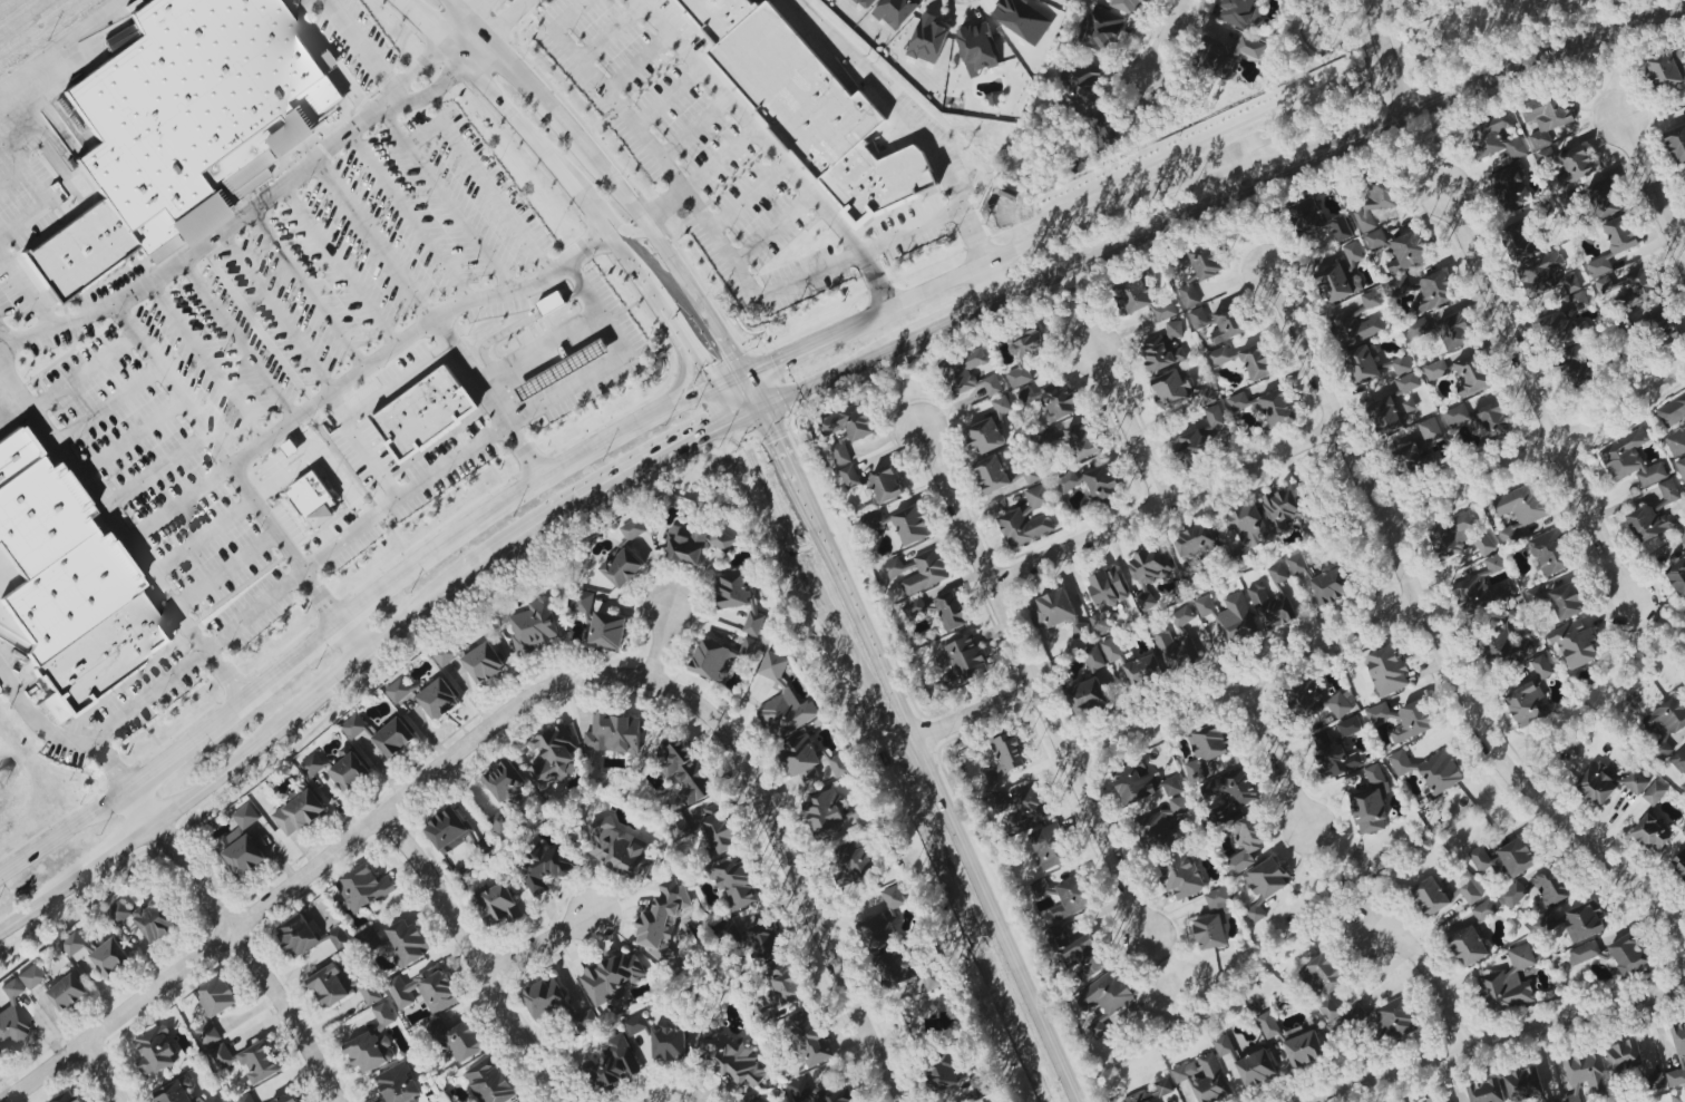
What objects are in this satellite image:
building: (865, 3)
building: (1129, 6)
building: (896, 11)
building: (1240, 13)
building: (1022, 19)
road: (464, 21)
road: (496, 30)
building: (1102, 30)
road: (607, 31)
park: (1346, 31)
building: (928, 39)
road: (1166, 40)
road: (60, 43)
building: (977, 48)
road: (360, 49)
building: (1227, 56)
road: (1387, 58)
road: (636, 64)
building: (1667, 69)
road: (1521, 72)
building: (1083, 85)
road: (397, 99)
road: (668, 99)
building: (809, 103)
road: (907, 115)
building: (1546, 117)
building: (176, 118)
road: (751, 125)
building: (1106, 127)
road: (694, 129)
road: (426, 135)
building: (1496, 137)
building: (1676, 143)
road: (723, 162)
building: (1574, 165)
road: (1220, 174)
road: (614, 175)
building: (1684, 176)
road: (572, 183)
road: (1652, 185)
building: (1510, 187)
building: (1009, 192)
road: (496, 197)
road: (750, 197)
building: (1605, 198)
road: (447, 199)
building: (1377, 206)
road: (670, 208)
road: (410, 215)
road: (612, 217)
road: (1180, 217)
building: (1317, 220)
road: (713, 230)
road: (775, 230)
building: (1620, 234)
building: (1375, 238)
building: (1520, 238)
road: (373, 240)
road: (206, 243)
building: (1408, 252)
building: (1204, 261)
road: (975, 263)
road: (339, 265)
building: (1599, 266)
building: (1343, 275)
building: (1547, 277)
road: (992, 280)
road: (875, 282)
building: (1640, 285)
road: (309, 287)
road: (26, 290)
building: (1434, 292)
building: (1189, 295)
building: (1142, 300)
building: (1371, 300)
building: (1578, 301)
building: (552, 302)
road: (276, 311)
road: (1503, 312)
building: (1199, 318)
road: (948, 323)
building: (1228, 324)
building: (1354, 328)
building: (1175, 329)
building: (1665, 329)
building: (1565, 330)
building: (1442, 331)
road: (411, 332)
road: (4, 335)
road: (238, 339)
road: (538, 345)
road: (808, 345)
building: (1025, 352)
building: (1160, 353)
building: (590, 354)
building: (1220, 355)
road: (207, 361)
road: (608, 361)
building: (1258, 362)
building: (1362, 364)
building: (1400, 365)
gas station: (564, 368)
building: (1438, 369)
building: (1579, 369)
building: (964, 372)
road: (81, 373)
building: (1473, 374)
traffic signals: (747, 376)
road: (828, 378)
road: (396, 380)
road: (732, 382)
building: (1408, 382)
building: (992, 384)
building: (1171, 388)
traffic signals: (718, 389)
road: (754, 391)
road: (486, 399)
building: (1051, 400)
building: (1238, 401)
road: (727, 404)
road: (105, 406)
building: (1001, 406)
traffic signals: (762, 408)
building: (1278, 408)
building: (421, 411)
building: (1673, 411)
building: (1457, 415)
building: (1215, 416)
building: (1384, 416)
traffic signals: (736, 421)
building: (1492, 421)
road: (1129, 423)
building: (846, 429)
building: (1430, 429)
building: (985, 436)
road: (129, 439)
road: (730, 439)
building: (1083, 440)
building: (1676, 441)
road: (362, 446)
building: (1191, 447)
road: (1538, 449)
building: (1408, 457)
building: (1630, 459)
road: (226, 462)
road: (563, 466)
building: (1682, 467)
road: (329, 470)
road: (154, 471)
road: (280, 472)
building: (992, 475)
building: (1032, 475)
building: (849, 477)
building: (1066, 481)
building: (887, 484)
building: (1102, 485)
building: (1669, 490)
building: (309, 494)
road: (402, 497)
road: (176, 503)
road: (1163, 503)
building: (1280, 508)
building: (1521, 509)
building: (874, 520)
building: (1313, 523)
road: (1595, 524)
building: (1650, 524)
building: (912, 525)
building: (1024, 527)
park: (1350, 527)
building: (633, 529)
building: (1247, 533)
road: (120, 535)
building: (1451, 535)
road: (201, 537)
building: (722, 539)
building: (1195, 542)
building: (685, 545)
building: (1486, 546)
building: (1550, 553)
building: (1494, 563)
building: (623, 567)
building: (1299, 567)
road: (839, 568)
road: (224, 570)
building: (926, 572)
building: (1148, 572)
building: (70, 578)
road: (812, 582)
building: (1331, 585)
building: (1107, 587)
road: (379, 591)
building: (1480, 593)
building: (739, 598)
building: (1272, 599)
building: (1567, 601)
building: (583, 602)
building: (941, 609)
road: (254, 611)
building: (1056, 613)
building: (1231, 617)
building: (1101, 622)
building: (534, 625)
building: (607, 631)
road: (1428, 632)
road: (1656, 637)
road: (353, 640)
road: (662, 643)
building: (1178, 644)
building: (1576, 644)
building: (750, 647)
building: (1112, 650)
building: (446, 653)
road: (371, 656)
building: (966, 659)
building: (1094, 659)
road: (291, 660)
building: (712, 661)
building: (484, 663)
building: (1386, 671)
building: (1143, 672)
road: (1032, 681)
road: (1241, 683)
road: (354, 689)
building: (399, 691)
building: (1087, 695)
road: (142, 698)
building: (439, 700)
building: (1319, 700)
building: (783, 701)
road: (975, 713)
building: (1402, 720)
building: (1666, 722)
building: (354, 725)
building: (1350, 726)
building: (613, 734)
building: (395, 738)
road: (60, 741)
road: (184, 744)
building: (1207, 748)
building: (1009, 752)
road: (1276, 755)
building: (1334, 755)
building: (553, 757)
building: (1679, 760)
building: (811, 761)
building: (312, 765)
building: (684, 769)
building: (1430, 770)
building: (350, 772)
road: (868, 779)
building: (505, 781)
building: (990, 781)
building: (1635, 782)
building: (1136, 783)
building: (1172, 786)
building: (1597, 786)
building: (1235, 789)
building: (1654, 793)
building: (1371, 802)
building: (1030, 809)
building: (299, 811)
building: (831, 815)
building: (501, 818)
building: (1168, 825)
building: (448, 830)
road: (64, 832)
building: (1652, 833)
building: (244, 843)
building: (1246, 843)
building: (1051, 847)
building: (620, 850)
building: (1504, 859)
building: (855, 861)
road: (318, 864)
building: (546, 868)
road: (795, 871)
building: (1181, 876)
building: (736, 881)
road: (1331, 884)
building: (1266, 885)
building: (363, 888)
building: (1540, 888)
building: (1041, 889)
building: (1469, 893)
building: (1430, 896)
building: (1072, 898)
building: (499, 904)
building: (1484, 910)
road: (995, 915)
building: (146, 918)
building: (1214, 920)
building: (656, 923)
building: (883, 923)
building: (1585, 923)
building: (298, 936)
building: (339, 938)
road: (238, 940)
building: (762, 942)
building: (406, 943)
building: (74, 944)
road: (539, 945)
building: (1469, 946)
building: (1587, 953)
building: (1628, 954)
building: (1079, 955)
building: (110, 958)
road: (475, 958)
building: (907, 971)
road: (1431, 976)
building: (29, 977)
building: (612, 977)
building: (1509, 982)
building: (785, 983)
building: (1324, 983)
building: (329, 986)
building: (9, 989)
building: (425, 991)
building: (68, 992)
building: (371, 993)
building: (545, 999)
building: (1104, 1001)
building: (214, 1006)
building: (384, 1015)
building: (586, 1020)
building: (1383, 1021)
building: (636, 1024)
building: (1268, 1025)
building: (12, 1030)
road: (1497, 1038)
building: (809, 1040)
building: (465, 1041)
building: (670, 1042)
building: (1225, 1049)
building: (1304, 1049)
building: (156, 1051)
building: (370, 1052)
building: (1624, 1055)
building: (1681, 1059)
building: (250, 1061)
building: (736, 1061)
building: (613, 1063)
building: (1256, 1069)
road: (110, 1071)
building: (1586, 1071)
building: (957, 1076)
building: (1204, 1077)
building: (490, 1082)
building: (1654, 1082)
building: (1523, 1084)
building: (398, 1085)
building: (1163, 1086)
building: (799, 1089)
building: (176, 1091)
road: (676, 1091)
building: (1487, 1091)
building: (837, 1094)
building: (1138, 1096)
building: (67, 1098)
building: (288, 1098)
building: (1571, 1098)
building: (1681, 1098)
building: (215, 1099)
building: (245, 1099)
building: (1442, 1099)
building: (752, 1100)
building: (440, 1101)
building: (1557, 1101)

